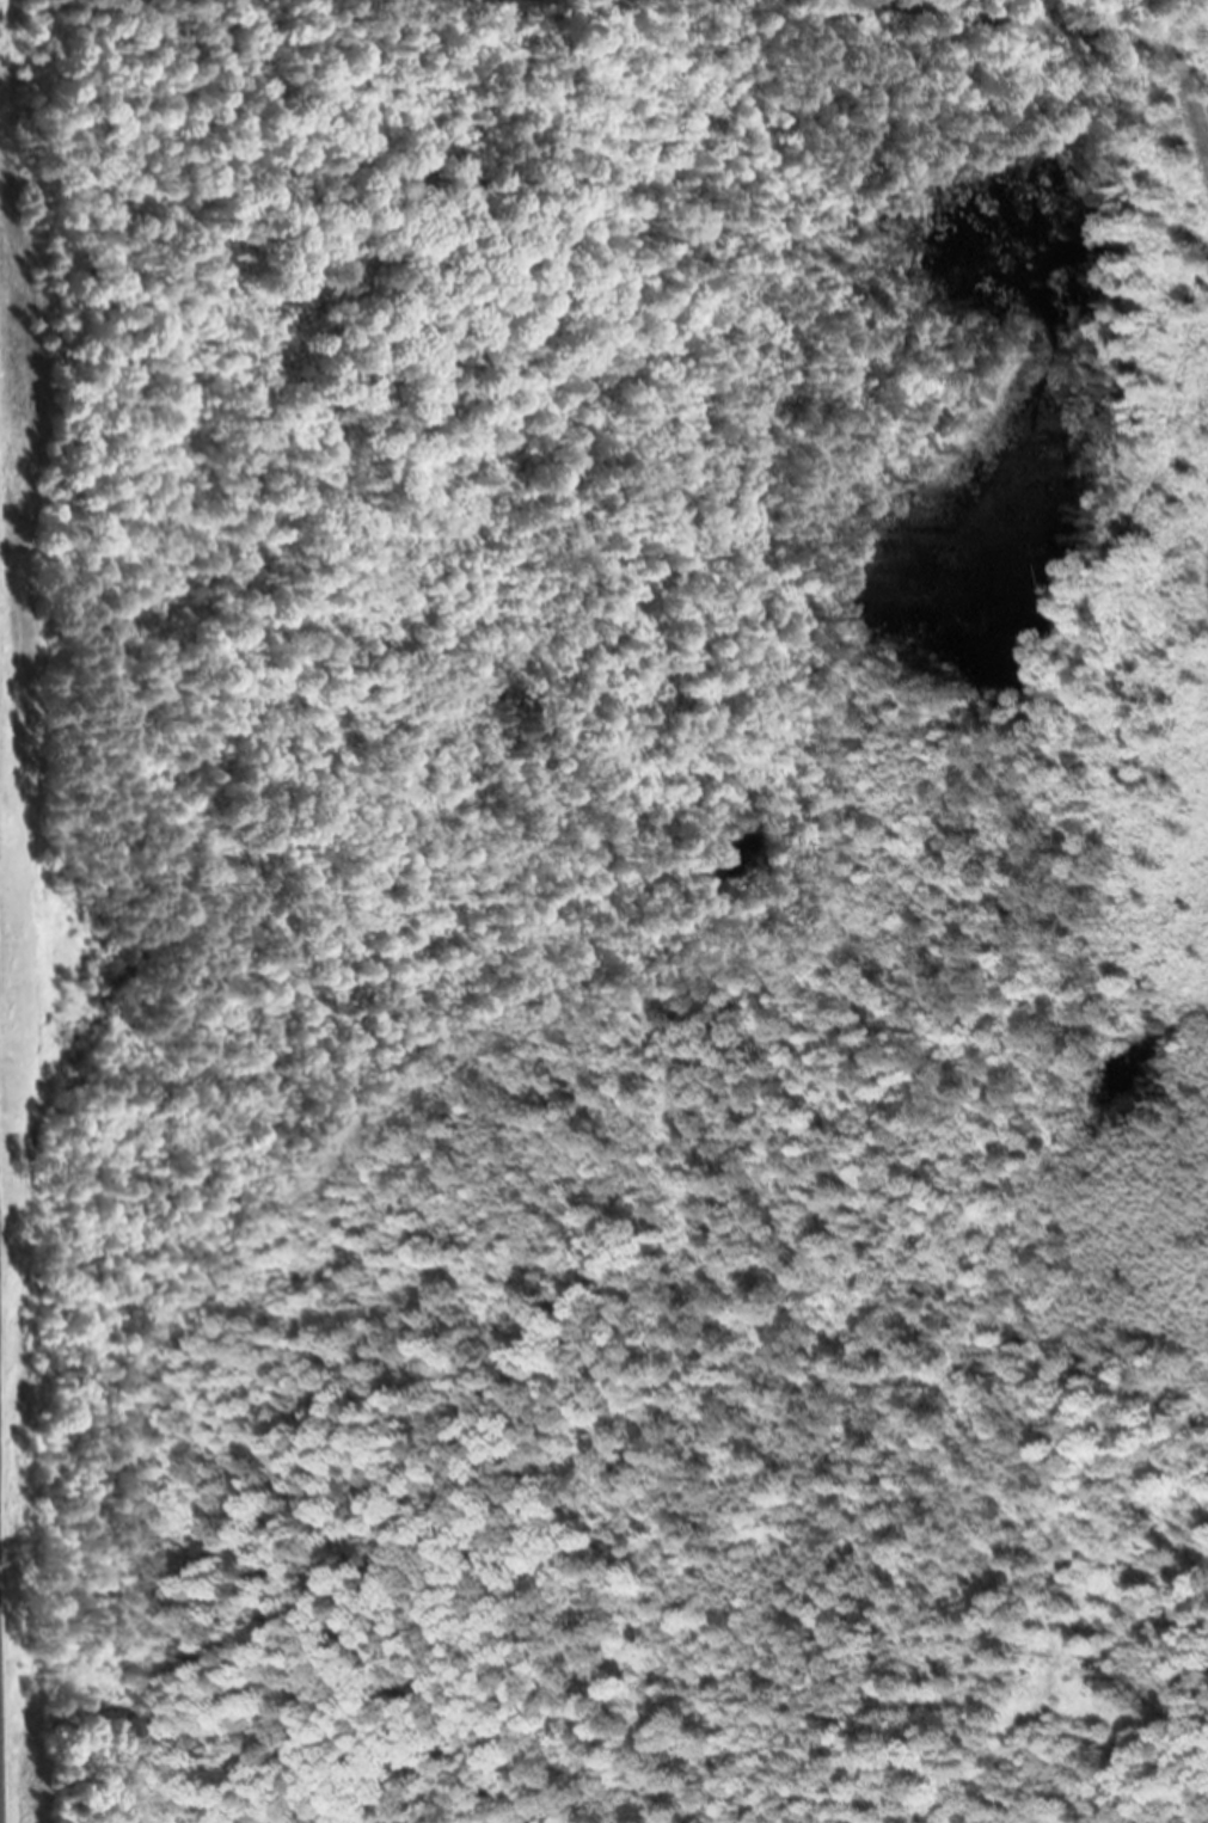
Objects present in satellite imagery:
road: (1000, 1748)

